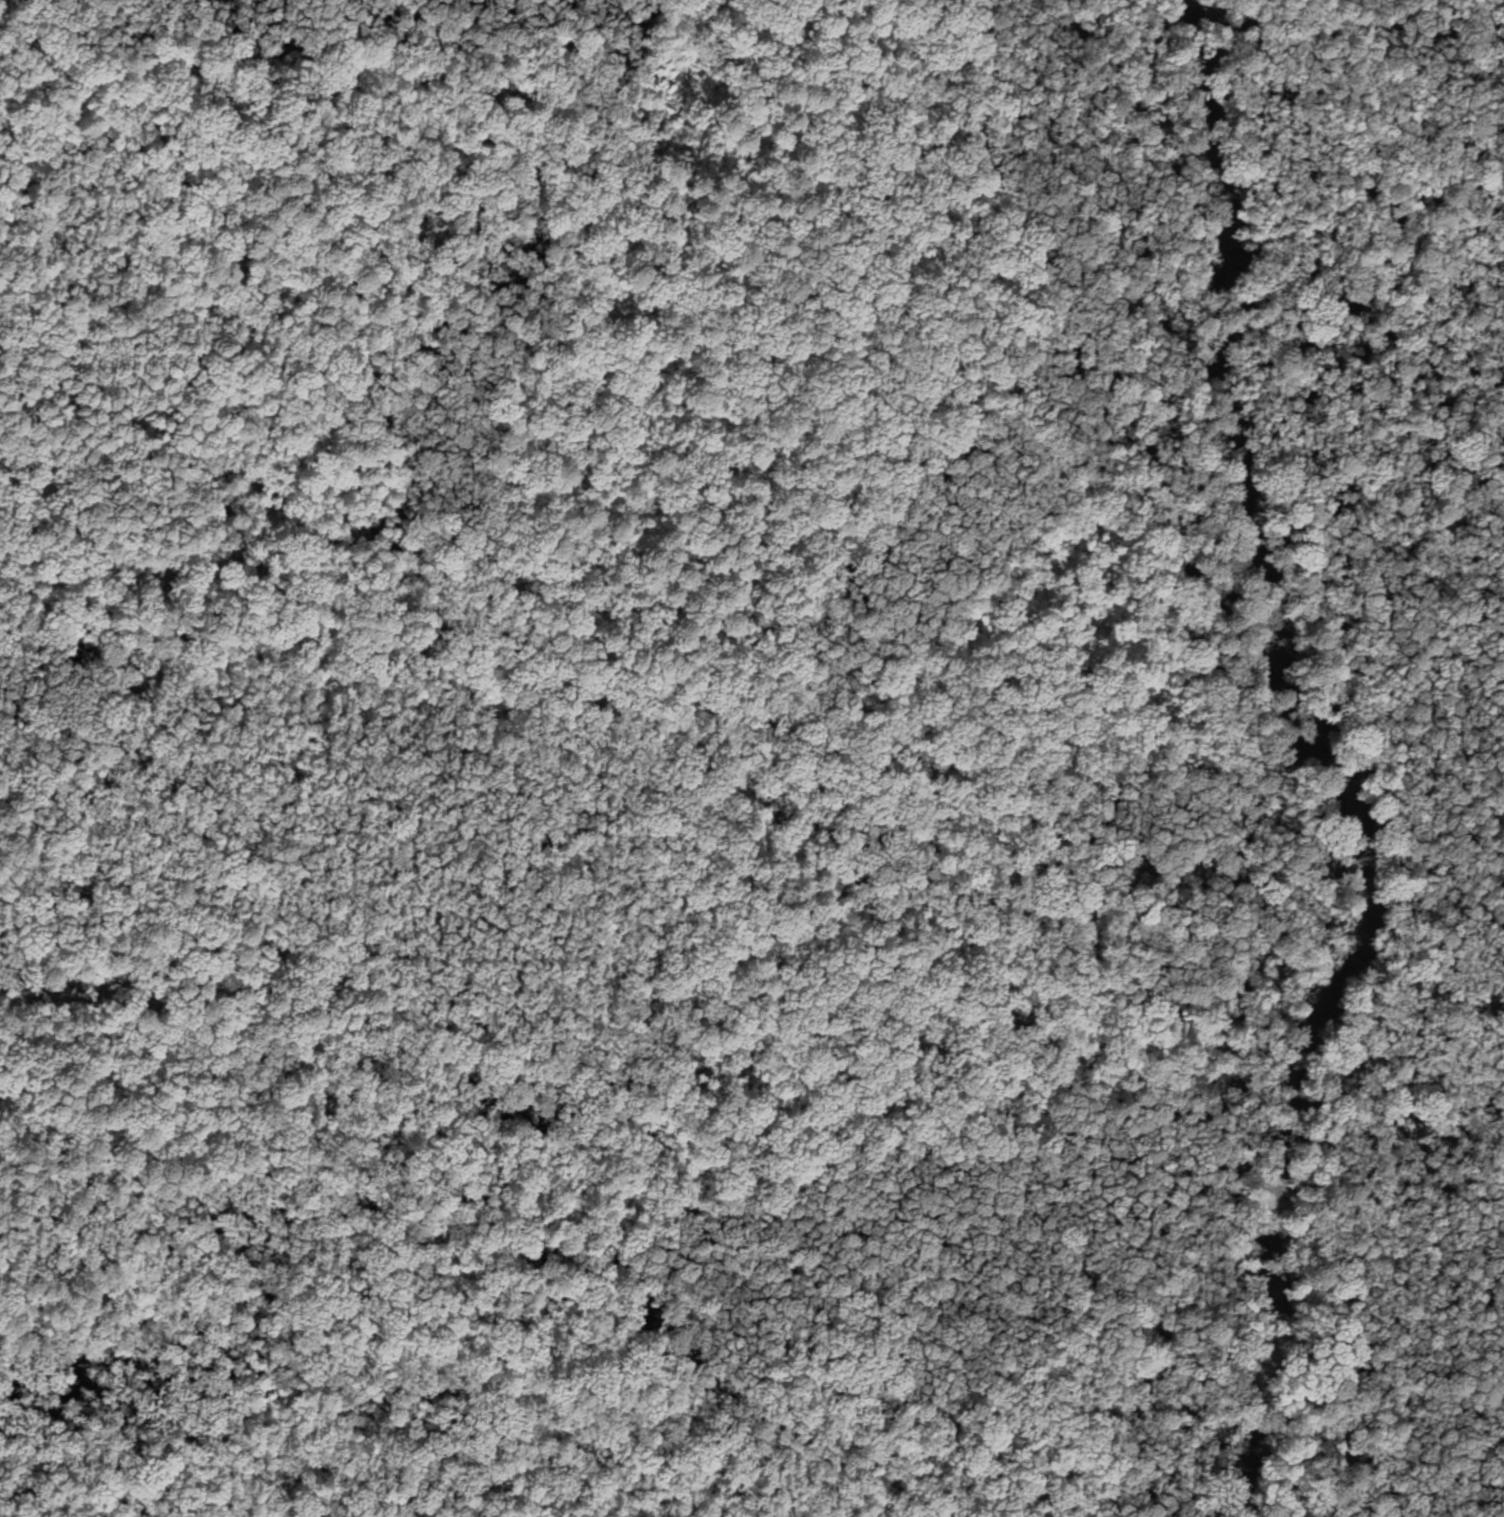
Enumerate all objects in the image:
building: (441, 1151)
building: (37, 1172)

